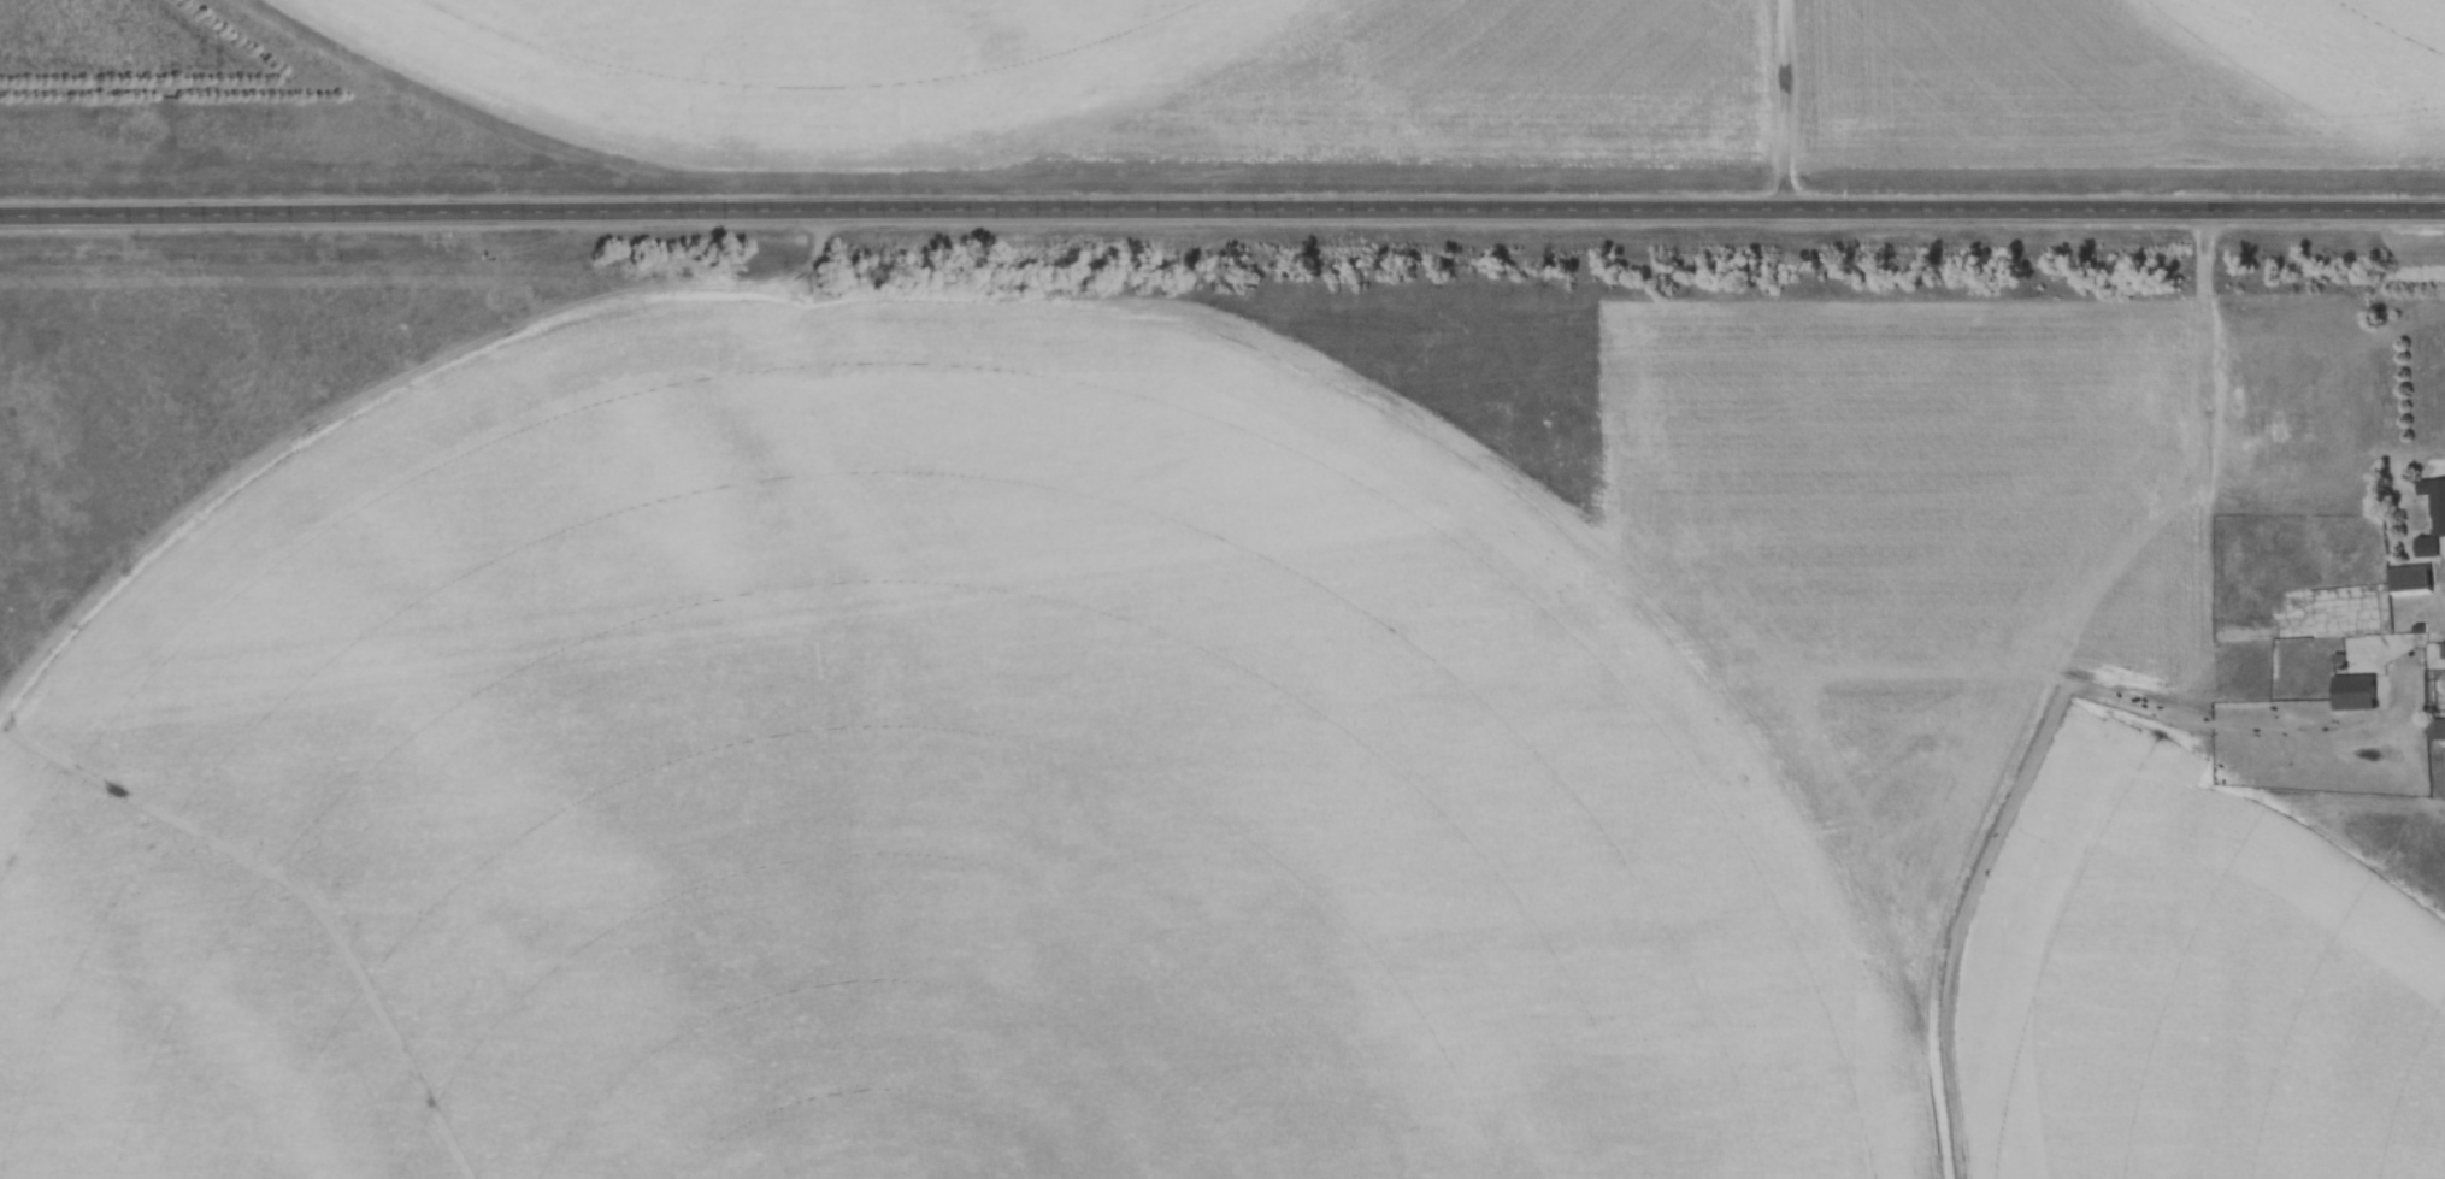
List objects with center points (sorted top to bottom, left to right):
road: (1221, 212)
building: (2433, 518)
building: (2411, 579)
building: (2355, 691)
building: (2434, 729)

